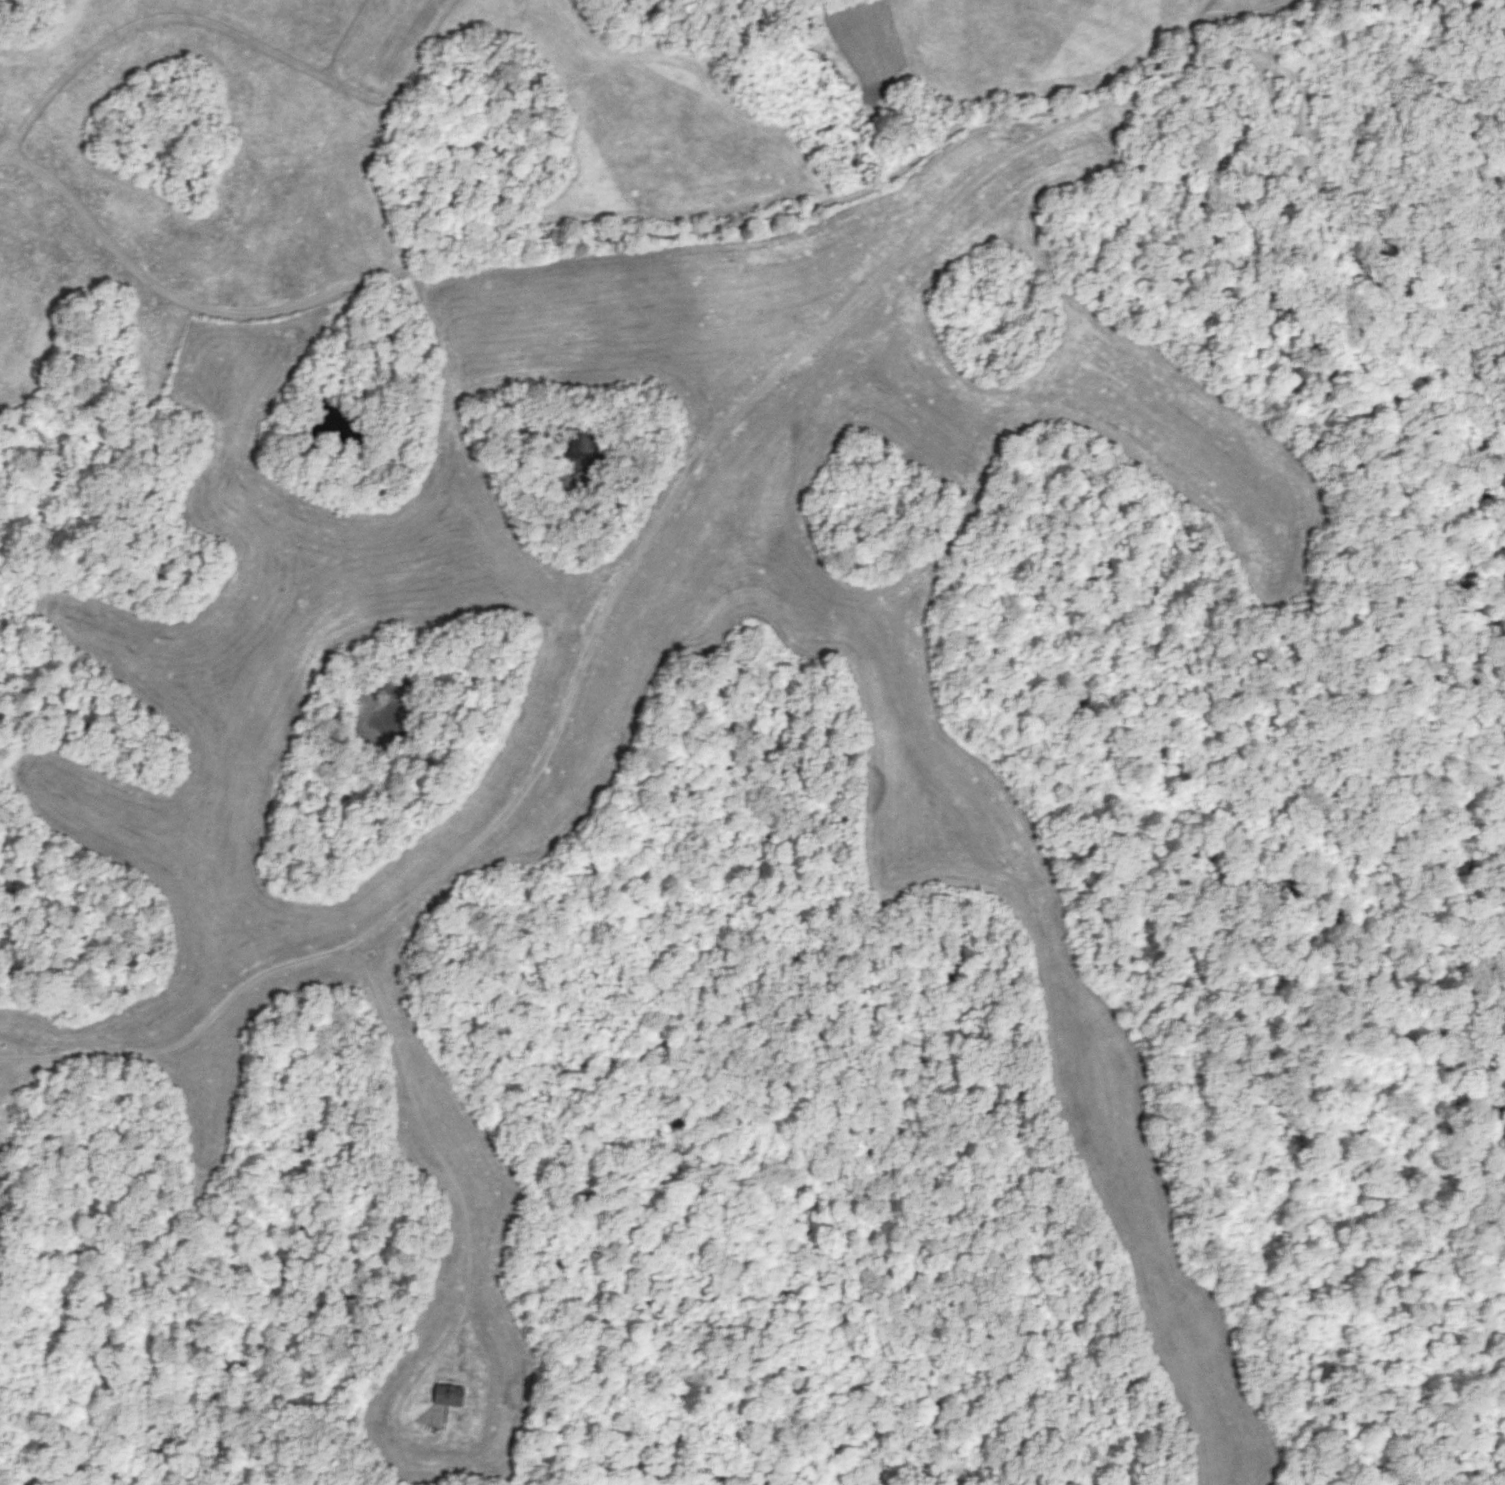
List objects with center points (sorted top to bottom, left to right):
road: (1327, 81)
road: (609, 599)
road: (448, 1298)

